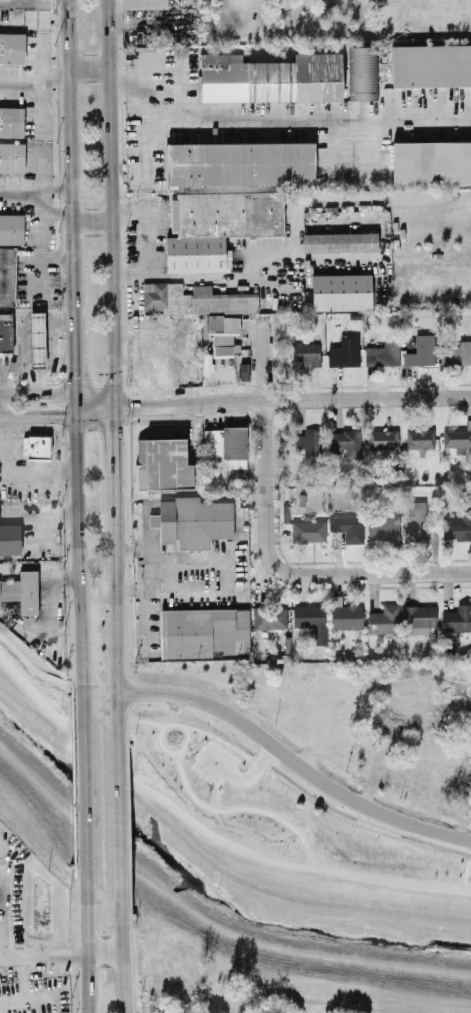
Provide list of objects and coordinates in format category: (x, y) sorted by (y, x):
building: (143, 4)
building: (12, 47)
building: (431, 65)
road: (88, 68)
road: (53, 73)
building: (362, 73)
building: (270, 78)
road: (19, 84)
road: (38, 84)
building: (11, 121)
road: (282, 121)
building: (11, 157)
road: (69, 158)
building: (431, 162)
building: (239, 163)
road: (53, 185)
road: (18, 195)
road: (37, 198)
road: (110, 202)
road: (54, 212)
road: (90, 220)
building: (218, 226)
building: (11, 229)
road: (148, 241)
building: (339, 242)
building: (7, 276)
building: (341, 292)
building: (222, 317)
building: (6, 332)
building: (37, 339)
building: (420, 351)
building: (344, 352)
building: (305, 353)
building: (456, 353)
building: (382, 354)
road: (64, 356)
road: (74, 356)
road: (54, 359)
road: (33, 384)
road: (37, 396)
road: (367, 397)
road: (95, 401)
road: (189, 401)
road: (75, 406)
road: (95, 409)
road: (37, 415)
building: (383, 438)
building: (419, 438)
building: (456, 438)
building: (307, 441)
building: (348, 441)
building: (225, 444)
building: (34, 446)
road: (116, 464)
building: (162, 464)
road: (17, 467)
building: (413, 518)
building: (191, 521)
building: (347, 526)
building: (456, 526)
building: (382, 527)
building: (307, 529)
road: (265, 536)
building: (9, 538)
road: (150, 560)
road: (77, 568)
road: (425, 572)
building: (21, 591)
building: (268, 616)
building: (419, 618)
building: (457, 618)
building: (310, 619)
building: (383, 619)
road: (148, 632)
building: (202, 632)
road: (119, 640)
road: (33, 668)
road: (134, 719)
road: (166, 724)
road: (295, 761)
parking lot: (213, 763)
road: (239, 778)
road: (81, 783)
road: (319, 805)
road: (241, 807)
road: (123, 818)
road: (234, 825)
road: (205, 832)
road: (465, 873)
road: (83, 929)
road: (124, 946)
road: (104, 952)
road: (2, 954)
building: (175, 1008)

